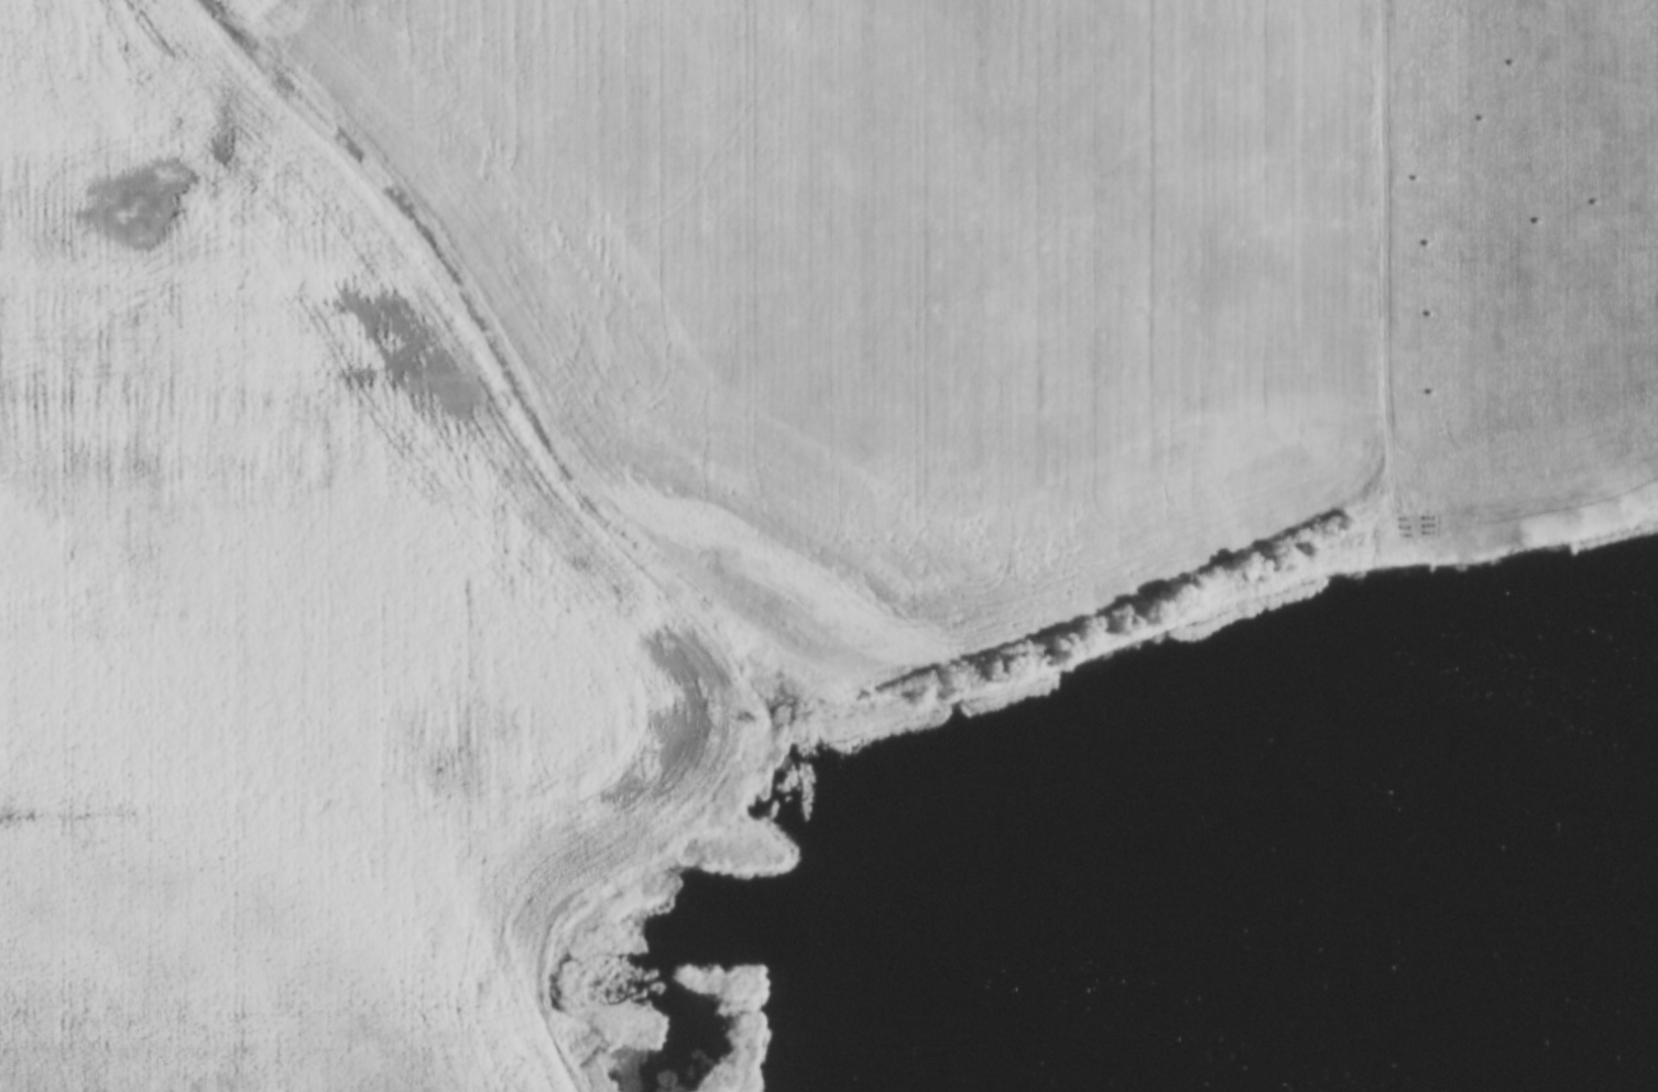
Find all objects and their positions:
road: (1381, 229)

